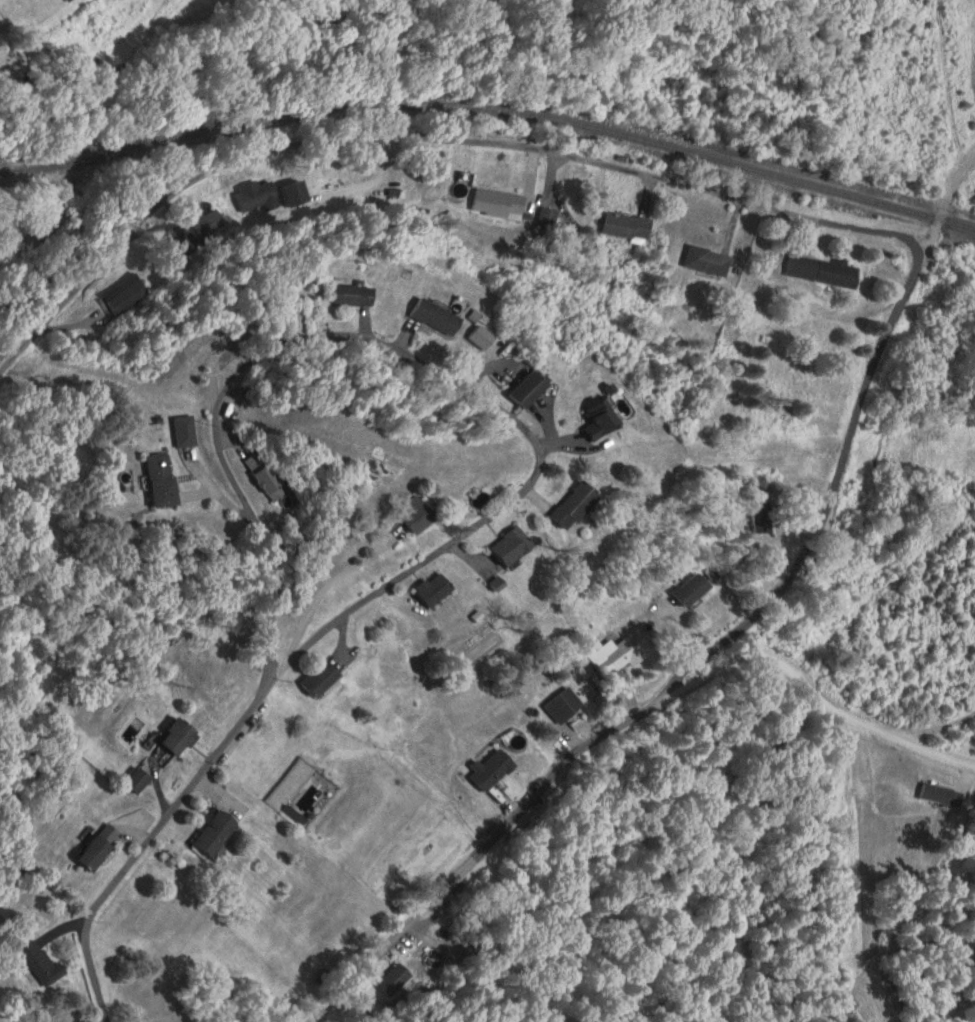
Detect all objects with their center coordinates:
railway: (491, 113)
road: (427, 137)
building: (257, 196)
building: (499, 203)
building: (209, 222)
building: (626, 226)
building: (708, 260)
building: (824, 270)
building: (354, 294)
building: (123, 296)
building: (436, 316)
road: (389, 341)
building: (530, 389)
building: (601, 421)
building: (268, 477)
building: (162, 481)
building: (576, 506)
building: (420, 515)
building: (764, 516)
building: (512, 547)
building: (435, 589)
building: (694, 590)
road: (303, 626)
building: (621, 655)
road: (679, 674)
building: (321, 679)
road: (811, 692)
building: (565, 705)
building: (180, 738)
building: (492, 769)
building: (139, 781)
building: (215, 832)
road: (143, 845)
building: (96, 852)
building: (44, 962)
building: (393, 980)

